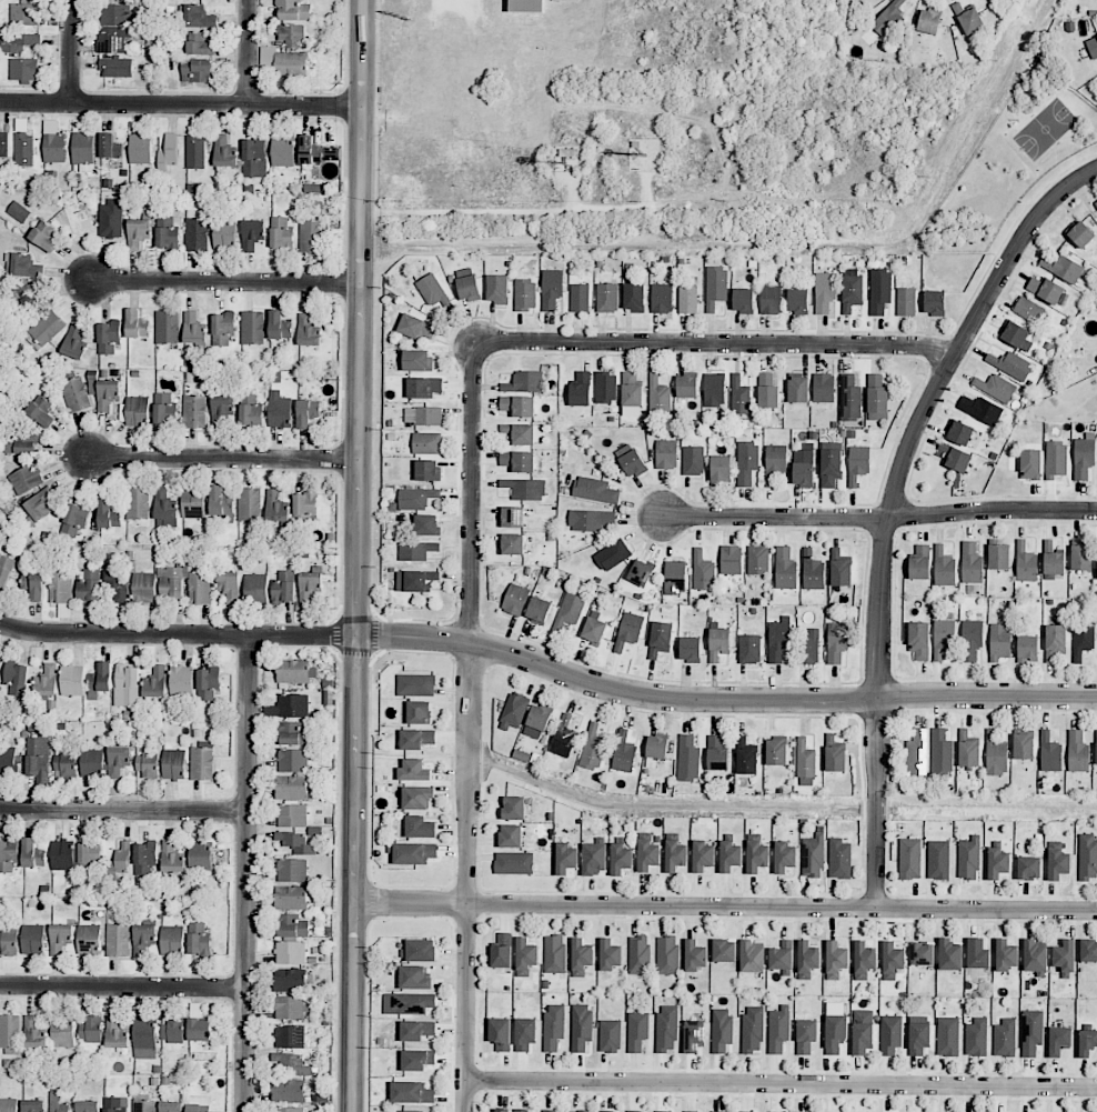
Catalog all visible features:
road: (454, 4)
building: (526, 6)
building: (293, 10)
building: (24, 13)
building: (198, 17)
building: (889, 18)
building: (968, 18)
building: (928, 21)
building: (113, 28)
building: (290, 34)
building: (18, 42)
building: (200, 44)
building: (1093, 48)
road: (72, 52)
road: (248, 53)
building: (290, 63)
building: (115, 67)
building: (23, 70)
building: (197, 70)
road: (181, 106)
building: (53, 143)
building: (4, 144)
building: (109, 146)
building: (23, 149)
building: (140, 149)
building: (82, 150)
building: (224, 151)
building: (282, 151)
building: (315, 151)
building: (194, 152)
building: (168, 153)
building: (254, 158)
building: (1096, 203)
building: (18, 211)
building: (78, 217)
building: (110, 219)
building: (138, 233)
building: (167, 233)
building: (224, 233)
building: (281, 233)
building: (1080, 233)
building: (197, 234)
building: (252, 234)
building: (43, 236)
building: (311, 236)
building: (23, 264)
building: (1065, 269)
road: (227, 284)
building: (716, 287)
building: (469, 288)
building: (497, 289)
building: (552, 289)
building: (1046, 289)
building: (432, 290)
building: (879, 290)
building: (825, 291)
building: (852, 292)
building: (525, 294)
building: (23, 295)
building: (634, 297)
building: (580, 298)
building: (607, 298)
building: (662, 298)
building: (687, 299)
building: (771, 299)
building: (743, 300)
building: (797, 301)
building: (906, 301)
building: (935, 302)
building: (1028, 310)
road: (360, 318)
building: (137, 324)
building: (280, 325)
building: (47, 327)
building: (167, 327)
building: (252, 327)
building: (416, 327)
building: (223, 328)
building: (193, 329)
building: (308, 330)
building: (109, 337)
building: (1017, 337)
building: (73, 342)
road: (714, 344)
building: (417, 360)
building: (1009, 364)
building: (525, 381)
building: (424, 387)
building: (605, 387)
building: (687, 387)
building: (995, 387)
building: (824, 388)
building: (581, 389)
building: (798, 389)
building: (632, 390)
building: (714, 390)
building: (767, 391)
building: (107, 393)
building: (76, 394)
building: (658, 395)
building: (739, 395)
building: (849, 398)
building: (877, 398)
building: (519, 405)
building: (164, 409)
building: (221, 409)
building: (980, 409)
building: (251, 410)
building: (280, 410)
building: (137, 411)
building: (194, 411)
building: (308, 412)
building: (423, 415)
building: (960, 432)
building: (521, 433)
building: (20, 442)
building: (426, 442)
building: (666, 453)
building: (1084, 455)
building: (955, 457)
building: (1056, 459)
building: (631, 460)
building: (693, 460)
road: (224, 461)
building: (517, 461)
building: (746, 462)
building: (774, 463)
building: (858, 463)
building: (1030, 463)
building: (831, 467)
building: (721, 468)
building: (427, 470)
building: (803, 474)
building: (26, 479)
building: (525, 489)
building: (595, 490)
building: (416, 498)
building: (138, 502)
building: (193, 503)
building: (221, 503)
building: (249, 503)
building: (39, 505)
building: (276, 507)
road: (892, 508)
building: (165, 509)
building: (109, 513)
road: (880, 514)
building: (512, 517)
building: (76, 519)
building: (591, 520)
building: (426, 524)
building: (512, 543)
building: (416, 550)
building: (613, 554)
building: (998, 557)
building: (1081, 557)
building: (731, 559)
building: (757, 560)
building: (1053, 561)
building: (1025, 562)
building: (919, 563)
building: (972, 563)
building: (944, 568)
building: (785, 569)
building: (841, 569)
building: (4, 571)
building: (703, 571)
building: (641, 572)
building: (813, 573)
building: (674, 578)
building: (415, 580)
building: (171, 583)
building: (33, 584)
building: (229, 584)
building: (89, 585)
building: (118, 585)
building: (309, 585)
building: (61, 587)
building: (144, 587)
building: (200, 588)
building: (256, 588)
building: (283, 588)
building: (515, 600)
building: (539, 610)
building: (568, 611)
building: (594, 630)
building: (628, 630)
road: (124, 634)
road: (303, 637)
building: (943, 638)
building: (1056, 638)
building: (660, 639)
building: (778, 639)
building: (972, 639)
building: (1083, 639)
building: (919, 640)
building: (1000, 641)
building: (718, 642)
building: (836, 642)
building: (808, 647)
building: (1027, 648)
building: (691, 649)
building: (749, 649)
building: (0, 661)
building: (295, 672)
building: (17, 678)
building: (47, 678)
building: (72, 680)
building: (100, 680)
building: (181, 680)
building: (155, 682)
building: (208, 683)
building: (415, 684)
building: (127, 685)
road: (723, 701)
building: (289, 707)
building: (514, 711)
building: (419, 712)
building: (537, 722)
road: (470, 727)
building: (289, 732)
building: (564, 737)
building: (416, 739)
building: (1023, 745)
building: (657, 747)
building: (593, 748)
building: (1096, 748)
building: (968, 750)
building: (776, 751)
building: (1077, 751)
building: (624, 752)
building: (717, 752)
building: (916, 752)
building: (942, 752)
building: (1049, 753)
building: (835, 754)
building: (995, 754)
building: (746, 757)
building: (687, 759)
building: (39, 760)
building: (118, 760)
building: (292, 760)
building: (8, 762)
building: (92, 762)
building: (202, 763)
building: (806, 763)
building: (148, 764)
building: (174, 764)
building: (66, 765)
building: (414, 770)
building: (291, 788)
building: (417, 797)
road: (667, 805)
building: (514, 807)
road: (124, 811)
building: (292, 815)
building: (420, 827)
building: (511, 835)
building: (294, 842)
building: (413, 852)
building: (32, 853)
building: (8, 854)
building: (62, 854)
building: (648, 854)
building: (89, 855)
building: (675, 855)
building: (703, 855)
building: (729, 855)
building: (757, 855)
building: (813, 855)
building: (145, 856)
building: (200, 856)
building: (785, 856)
building: (172, 858)
building: (565, 858)
building: (594, 858)
building: (969, 858)
building: (1087, 858)
building: (120, 859)
building: (621, 859)
building: (839, 859)
building: (909, 859)
building: (938, 860)
building: (513, 862)
building: (997, 862)
building: (1058, 863)
building: (1029, 868)
building: (291, 870)
road: (248, 874)
road: (354, 874)
building: (290, 898)
road: (725, 906)
building: (292, 925)
building: (61, 938)
building: (89, 938)
building: (33, 939)
building: (143, 939)
building: (199, 939)
building: (118, 940)
building: (172, 940)
building: (8, 943)
building: (421, 950)
building: (502, 951)
building: (724, 951)
building: (1088, 951)
building: (290, 952)
building: (554, 953)
building: (781, 953)
building: (922, 953)
building: (977, 953)
building: (610, 954)
building: (949, 954)
building: (1006, 954)
building: (638, 955)
building: (667, 955)
building: (695, 955)
building: (1035, 955)
building: (1064, 955)
building: (525, 956)
building: (752, 958)
building: (807, 959)
building: (835, 960)
building: (864, 960)
building: (892, 960)
building: (415, 978)
building: (290, 980)
road: (123, 989)
building: (409, 1003)
building: (290, 1008)
building: (553, 1026)
building: (581, 1026)
building: (199, 1029)
building: (666, 1029)
building: (753, 1029)
building: (778, 1029)
building: (90, 1030)
building: (172, 1030)
building: (416, 1030)
building: (722, 1030)
building: (63, 1031)
building: (637, 1031)
building: (1031, 1031)
building: (862, 1032)
building: (10, 1033)
building: (34, 1033)
building: (115, 1033)
building: (501, 1033)
building: (525, 1033)
building: (835, 1033)
building: (890, 1034)
building: (610, 1035)
building: (694, 1035)
building: (806, 1035)
building: (290, 1036)
building: (948, 1036)
building: (919, 1038)
building: (976, 1038)
building: (1005, 1038)
building: (144, 1039)
building: (1059, 1040)
building: (1087, 1042)
building: (417, 1060)
road: (782, 1085)
building: (412, 1092)
building: (59, 1103)
building: (143, 1103)
building: (8, 1104)
building: (115, 1104)
building: (33, 1105)
building: (88, 1105)
building: (199, 1105)
building: (171, 1106)
building: (289, 1109)
building: (502, 1110)
building: (521, 1110)
building: (426, 1111)
building: (581, 1111)
building: (605, 1111)
building: (634, 1111)
building: (662, 1111)
building: (691, 1111)
building: (719, 1111)
building: (752, 1111)

